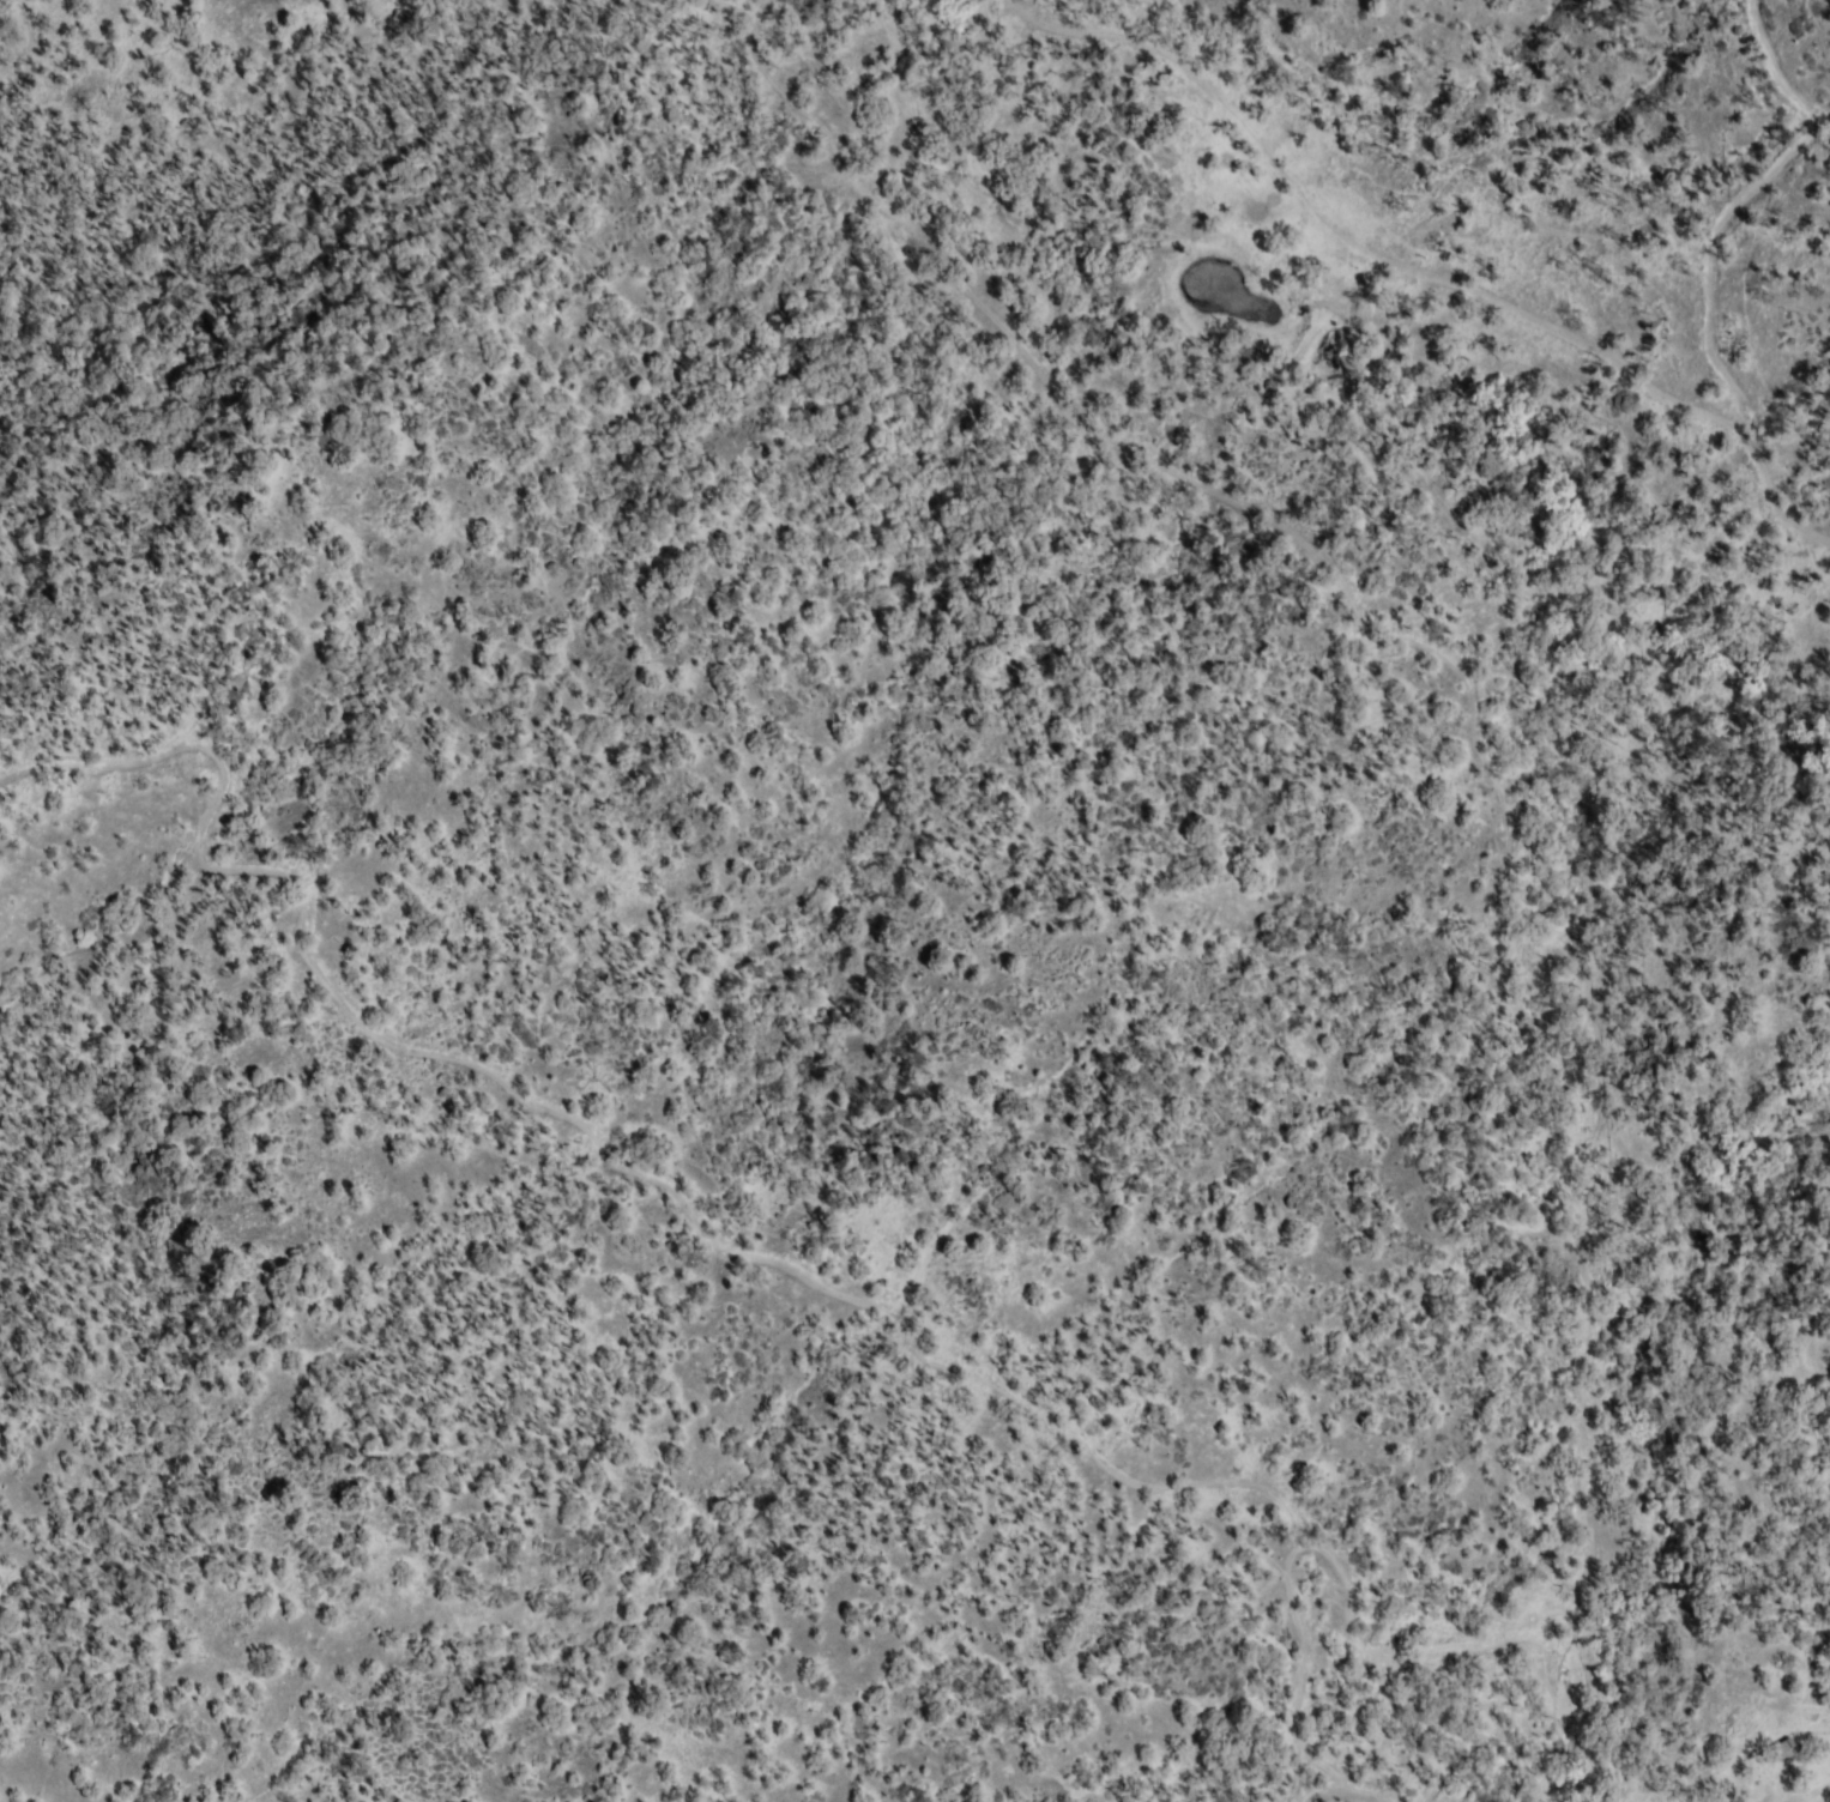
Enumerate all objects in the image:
building: (1781, 1748)

